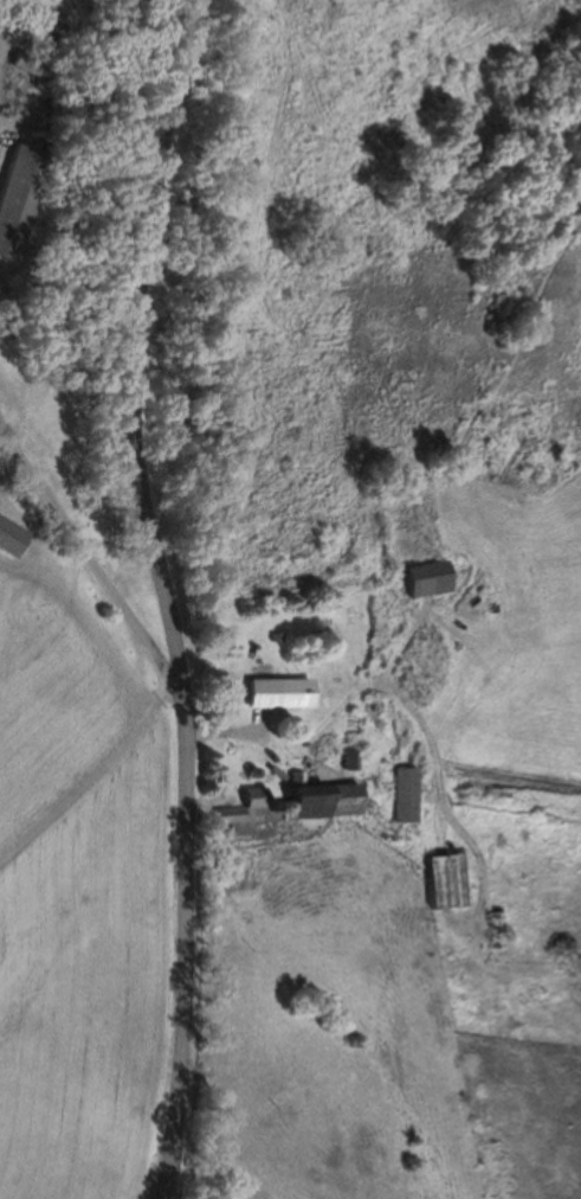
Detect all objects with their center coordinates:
building: (27, 66)
building: (15, 197)
building: (8, 541)
building: (419, 582)
road: (99, 591)
road: (160, 597)
building: (277, 695)
building: (405, 796)
building: (324, 802)
building: (228, 816)
building: (450, 883)

